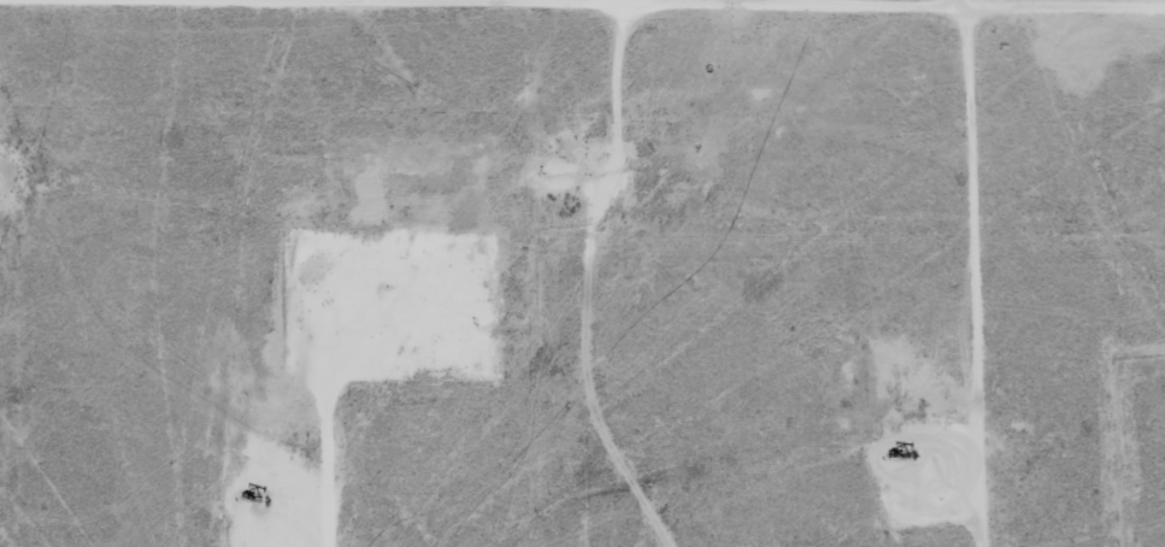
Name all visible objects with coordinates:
road: (316, 22)
road: (607, 277)

